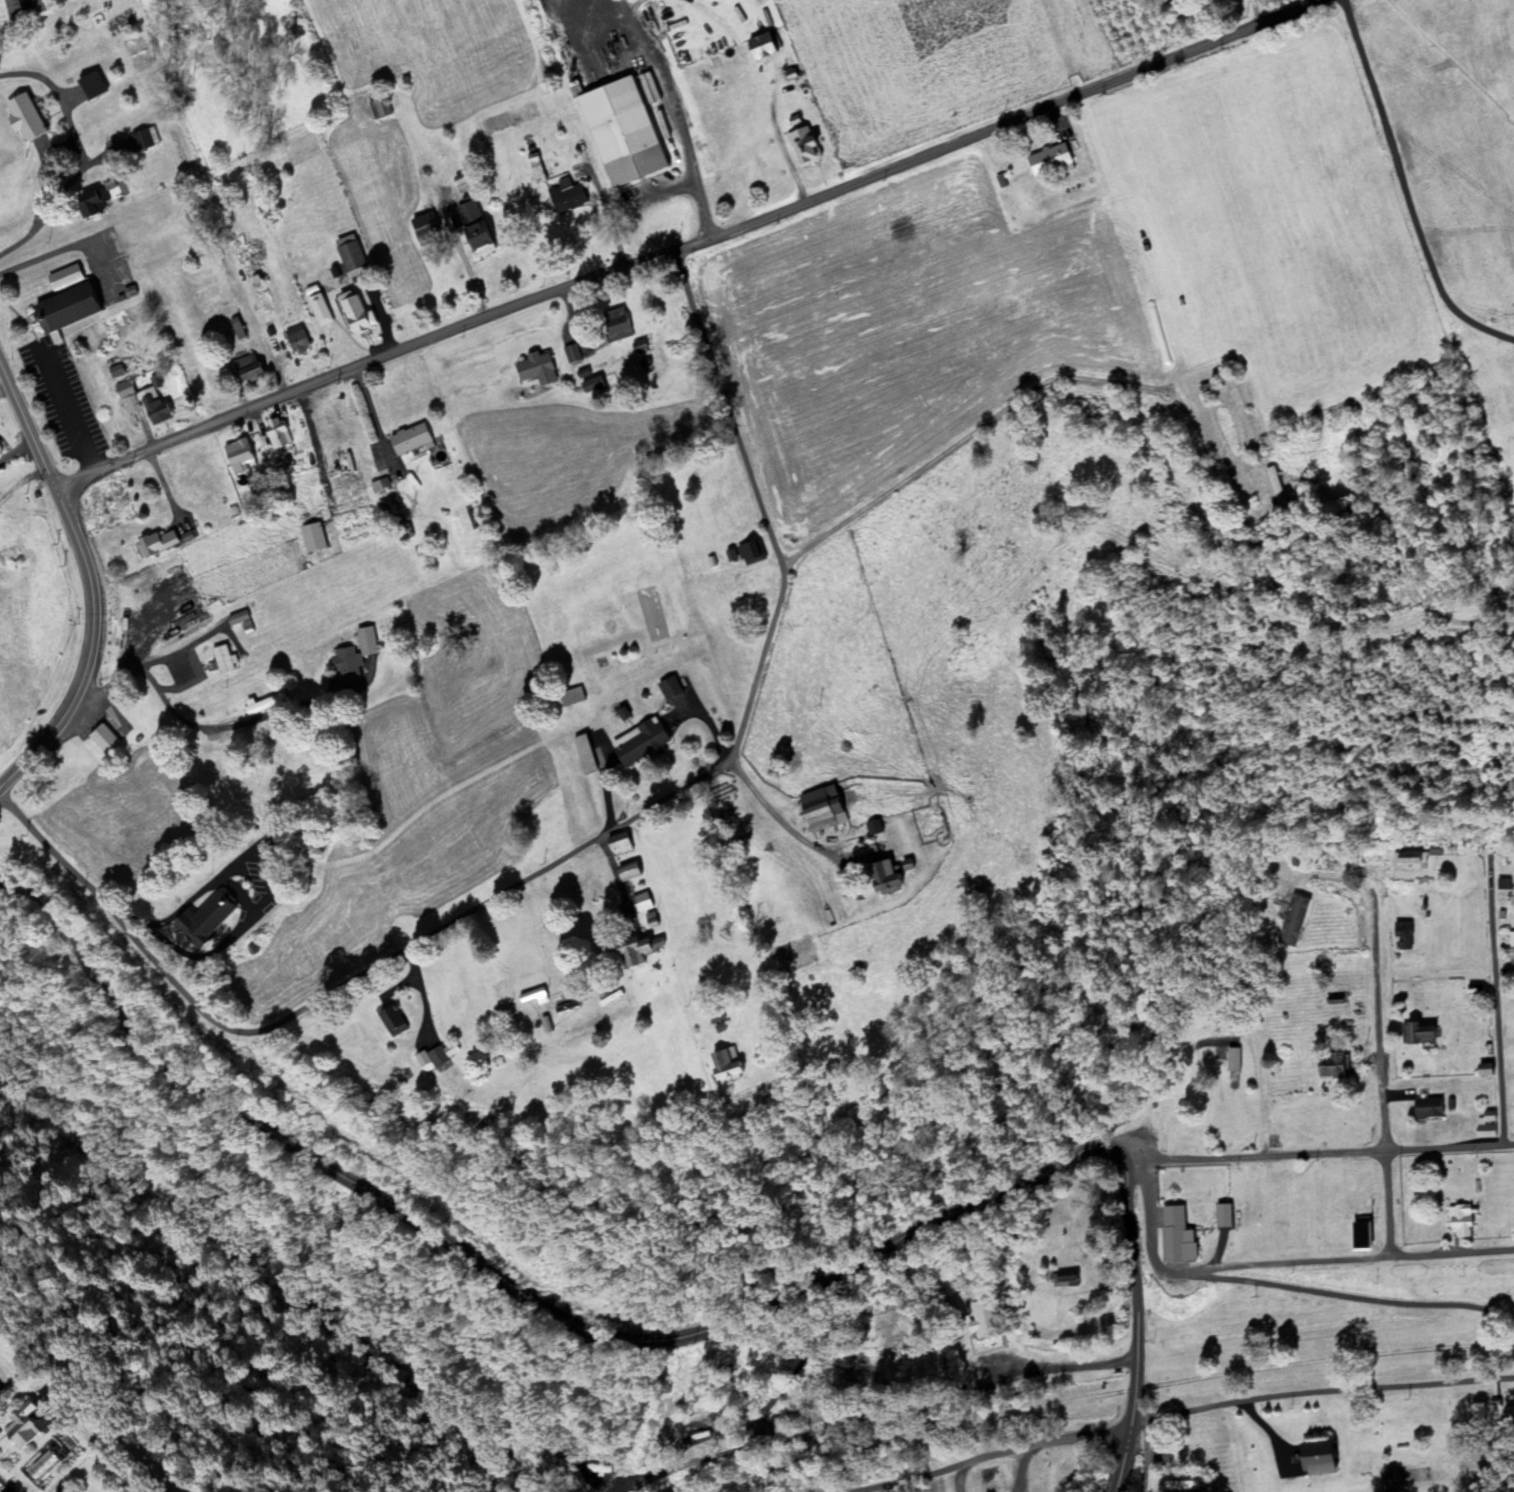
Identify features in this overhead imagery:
building: (23, 8)
road: (628, 13)
building: (759, 45)
building: (91, 85)
building: (379, 107)
building: (26, 117)
road: (680, 127)
building: (623, 132)
building: (140, 140)
building: (801, 145)
road: (81, 155)
building: (1051, 157)
building: (464, 184)
building: (567, 198)
building: (90, 204)
road: (213, 216)
building: (473, 227)
building: (425, 228)
road: (78, 243)
road: (677, 247)
building: (62, 274)
building: (64, 307)
building: (260, 310)
building: (357, 316)
road: (21, 319)
building: (614, 324)
building: (235, 329)
building: (296, 337)
building: (579, 355)
building: (246, 368)
building: (115, 369)
building: (535, 370)
building: (591, 387)
building: (122, 389)
building: (1208, 389)
building: (130, 404)
road: (64, 405)
building: (156, 408)
building: (277, 433)
road: (961, 436)
building: (407, 440)
building: (0, 451)
building: (244, 457)
road: (21, 481)
building: (1272, 490)
building: (158, 545)
building: (741, 554)
building: (210, 573)
road: (91, 583)
building: (154, 619)
building: (241, 623)
building: (353, 656)
building: (224, 661)
building: (668, 688)
building: (570, 697)
road: (176, 727)
building: (104, 740)
building: (638, 743)
building: (583, 754)
building: (816, 810)
road: (775, 818)
building: (617, 848)
road: (571, 850)
building: (1409, 860)
building: (625, 875)
building: (874, 878)
building: (637, 904)
road: (182, 906)
building: (1291, 921)
building: (209, 922)
building: (1403, 940)
building: (1510, 950)
building: (629, 952)
road: (1496, 996)
building: (706, 1017)
building: (385, 1022)
road: (1380, 1022)
building: (1417, 1035)
building: (1218, 1053)
building: (427, 1058)
building: (714, 1066)
building: (1331, 1066)
building: (1426, 1108)
building: (1113, 1123)
building: (1484, 1127)
road: (1318, 1152)
road: (1387, 1205)
road: (1151, 1220)
building: (1458, 1222)
building: (1284, 1234)
building: (1174, 1237)
building: (1358, 1237)
building: (1246, 1240)
road: (1341, 1263)
building: (1062, 1283)
road: (513, 1290)
road: (1342, 1294)
building: (956, 1303)
building: (982, 1320)
road: (1136, 1328)
road: (1100, 1393)
road: (1321, 1393)
building: (63, 1411)
building: (1418, 1413)
building: (17, 1429)
road: (1051, 1444)
building: (1165, 1456)
building: (1314, 1461)
road: (912, 1477)
building: (1180, 1487)

